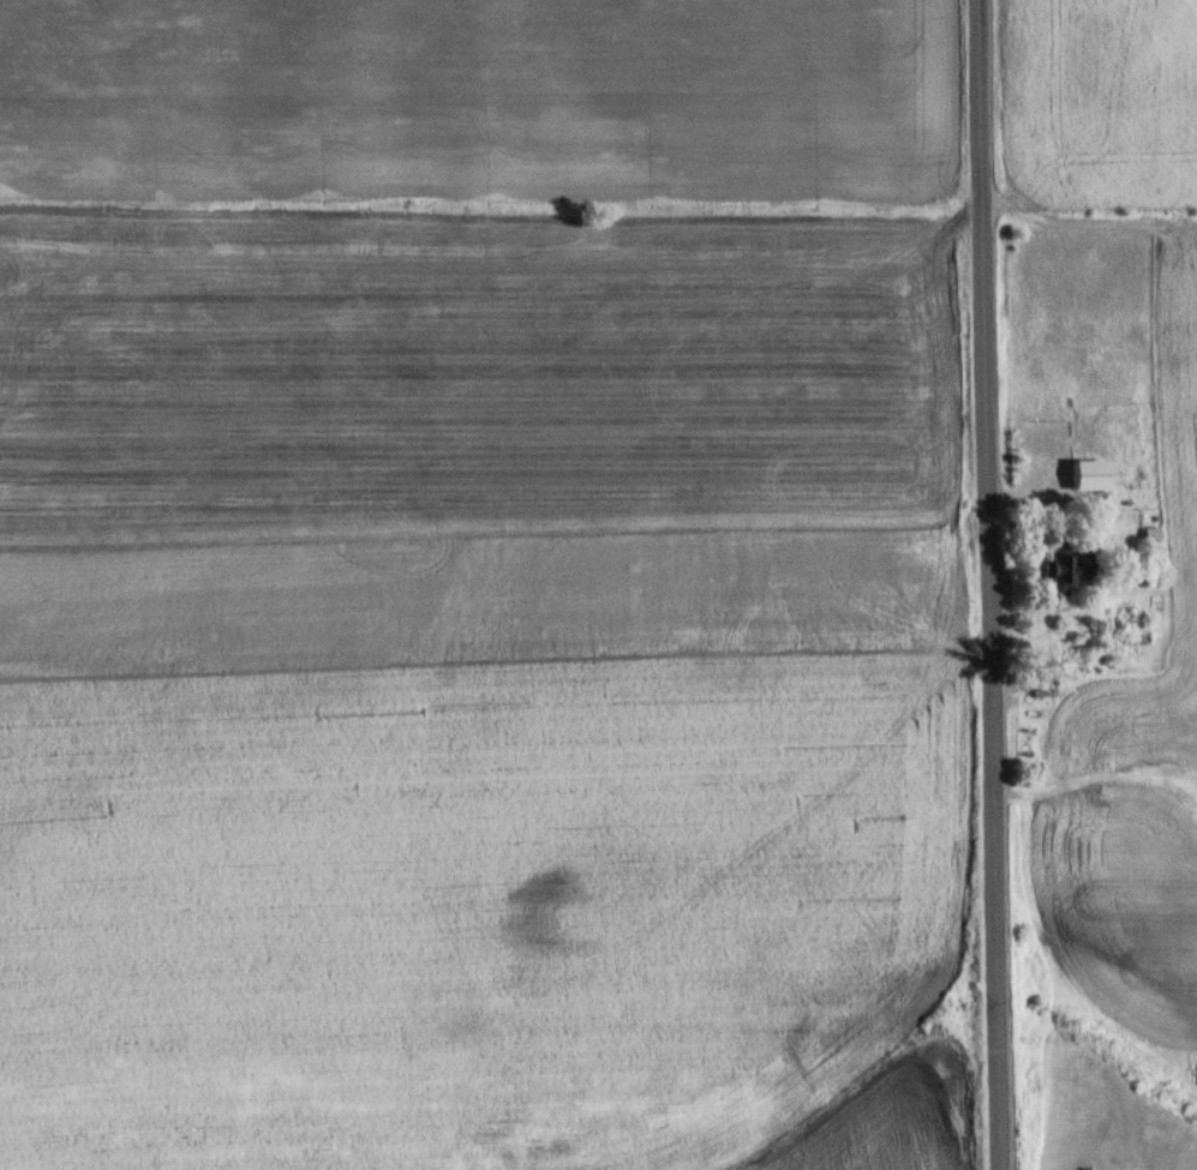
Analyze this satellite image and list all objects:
building: (1094, 474)
building: (1069, 563)
road: (994, 584)

